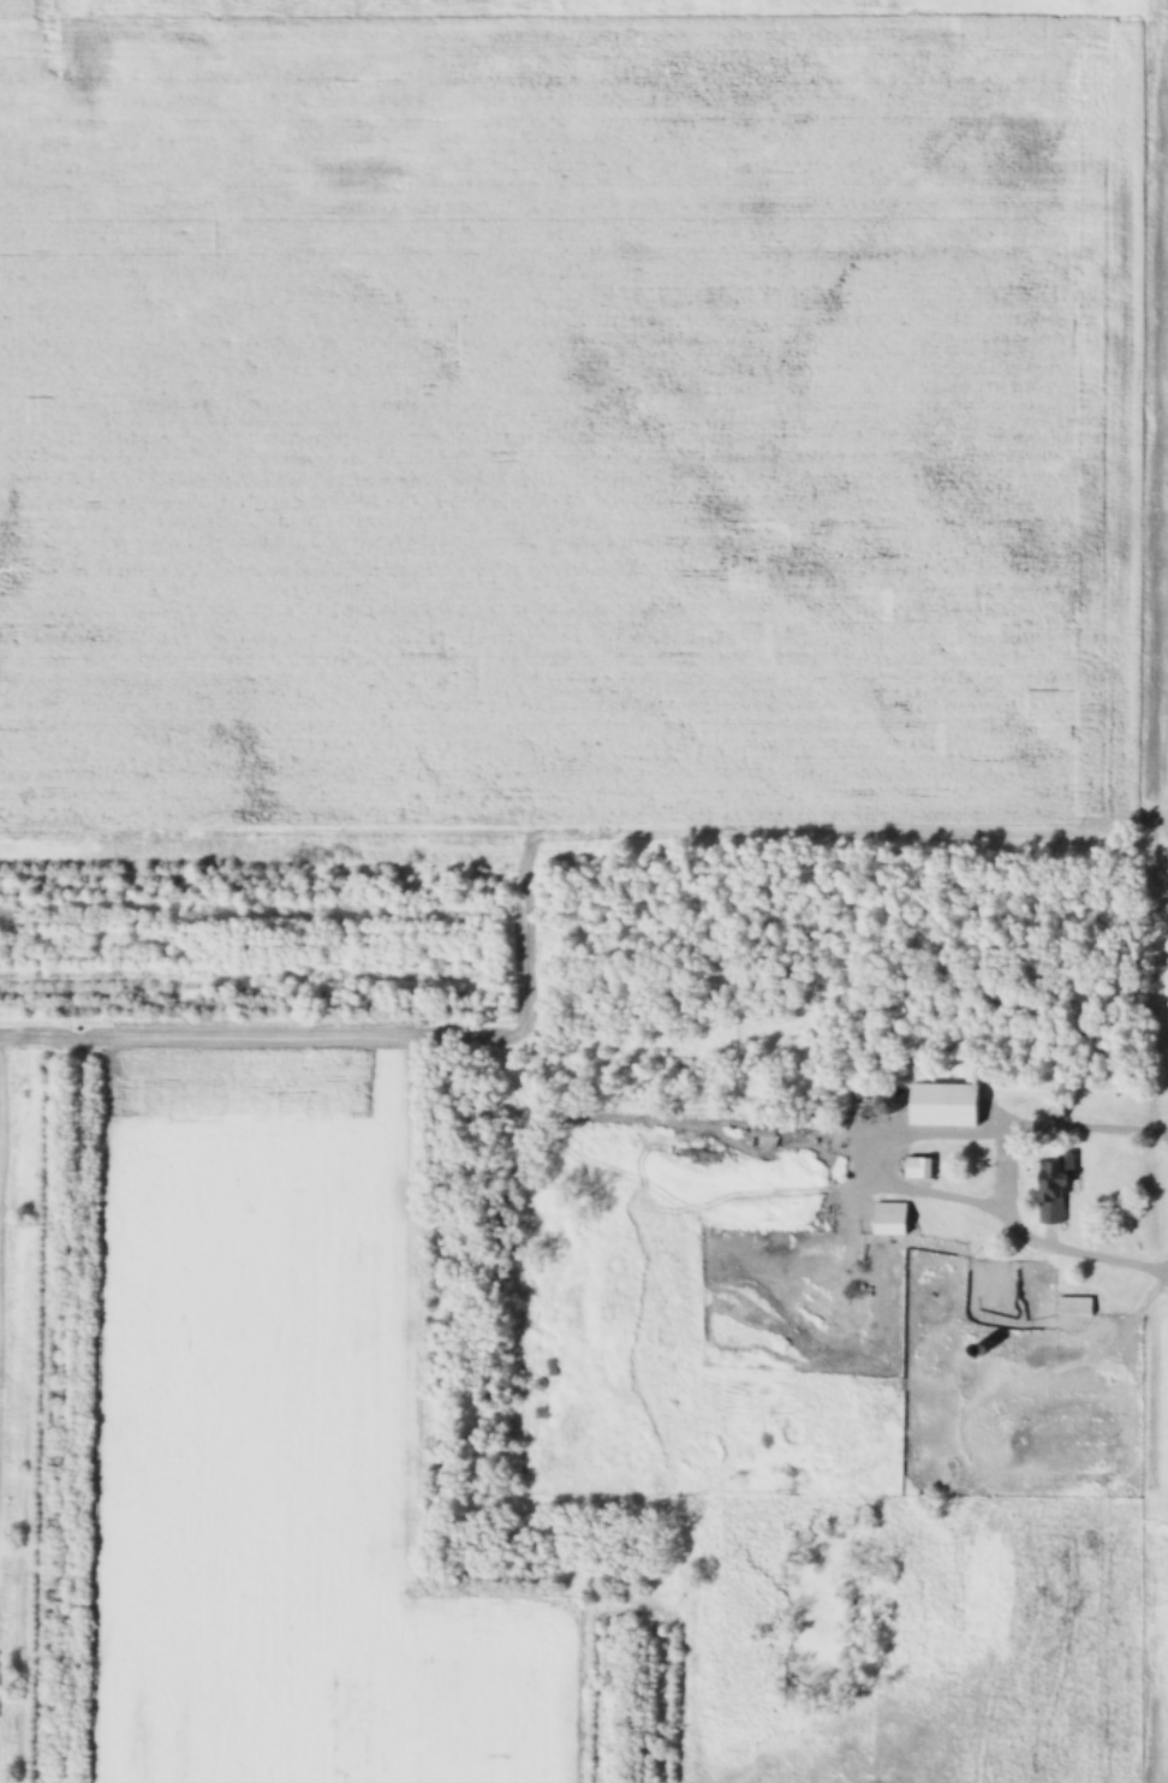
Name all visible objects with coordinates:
building: (946, 1105)
building: (767, 1131)
building: (919, 1167)
road: (996, 1169)
building: (1053, 1193)
building: (893, 1218)
building: (1075, 1304)

